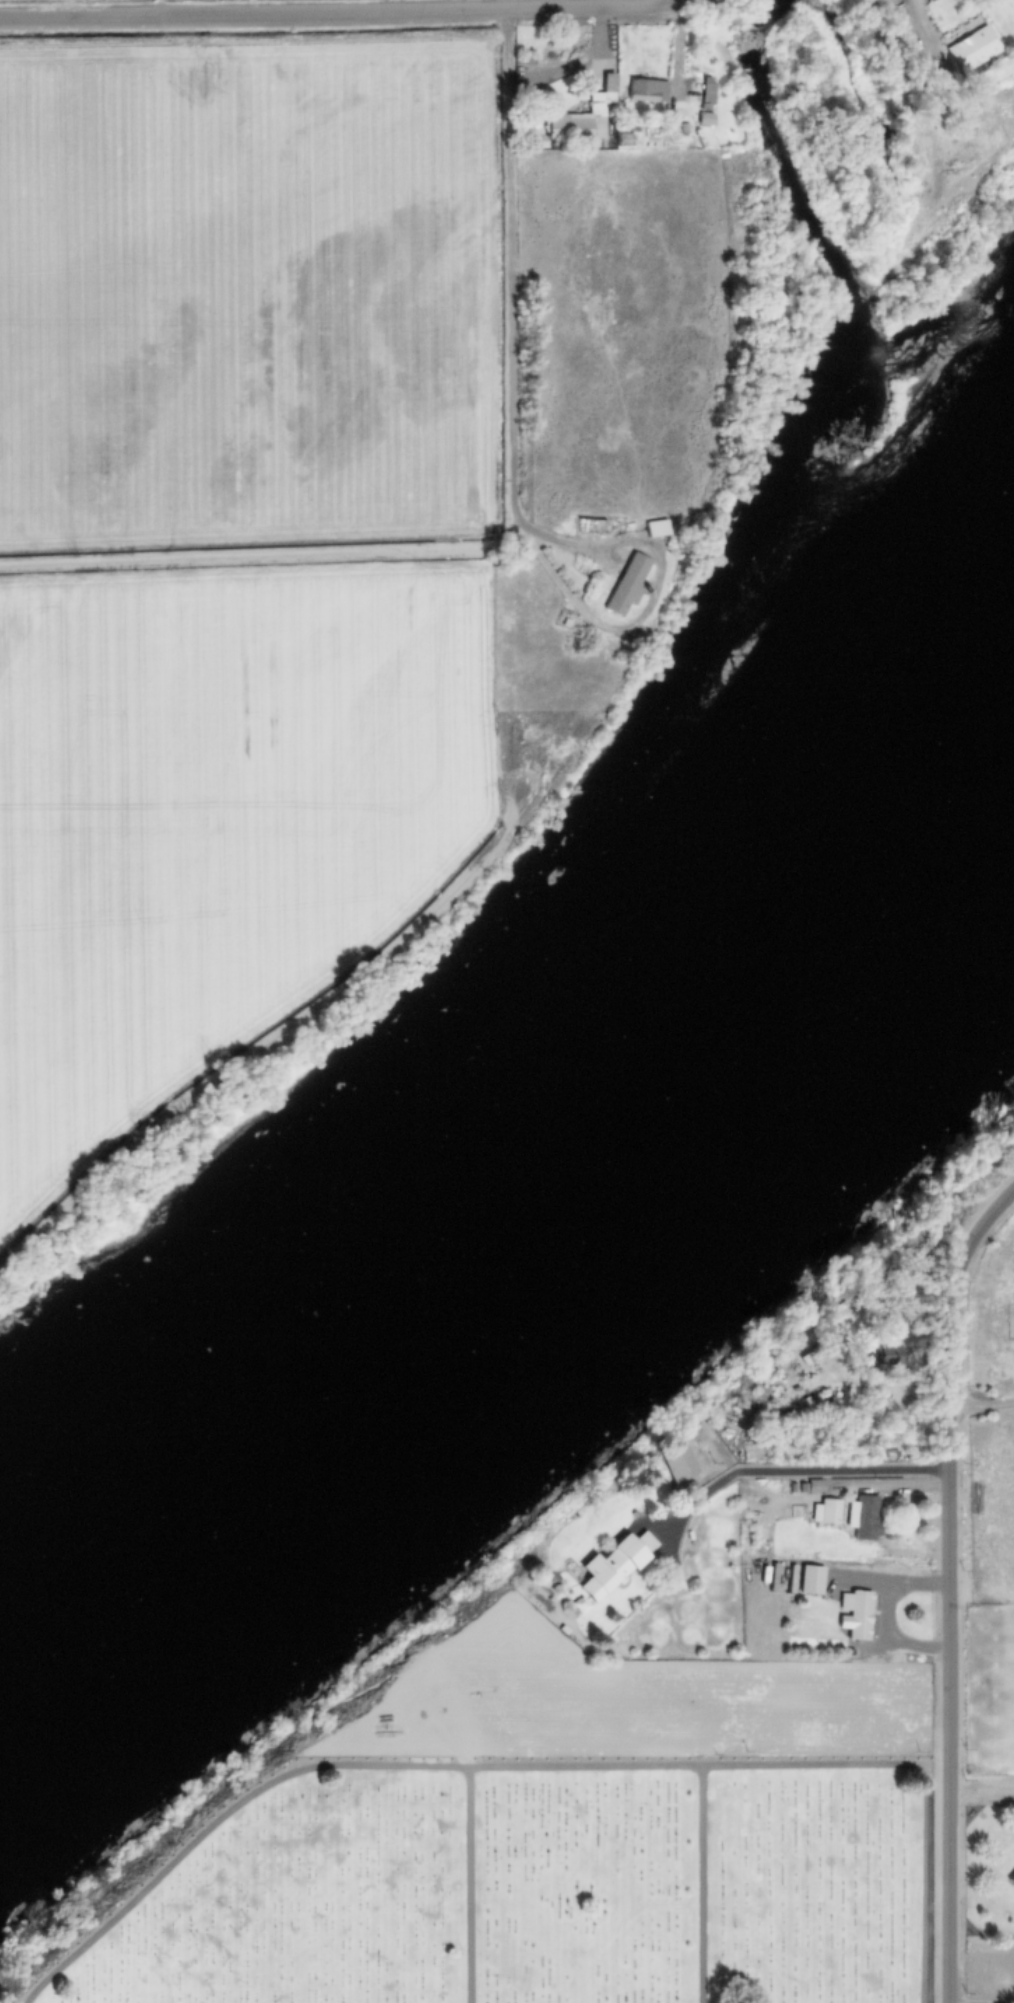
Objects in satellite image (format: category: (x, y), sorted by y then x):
road: (354, 13)
road: (925, 27)
building: (972, 51)
building: (608, 90)
building: (648, 92)
building: (707, 92)
building: (705, 120)
building: (575, 129)
road: (512, 462)
building: (656, 528)
road: (265, 557)
building: (628, 584)
road: (260, 1043)
river: (539, 1184)
building: (882, 1356)
building: (679, 1467)
road: (802, 1474)
building: (825, 1511)
building: (864, 1518)
building: (615, 1565)
building: (810, 1580)
road: (945, 1586)
building: (854, 1614)
road: (438, 1763)
building: (1011, 1880)
road: (468, 1883)
road: (703, 1884)
road: (832, 1884)
park: (536, 1893)

